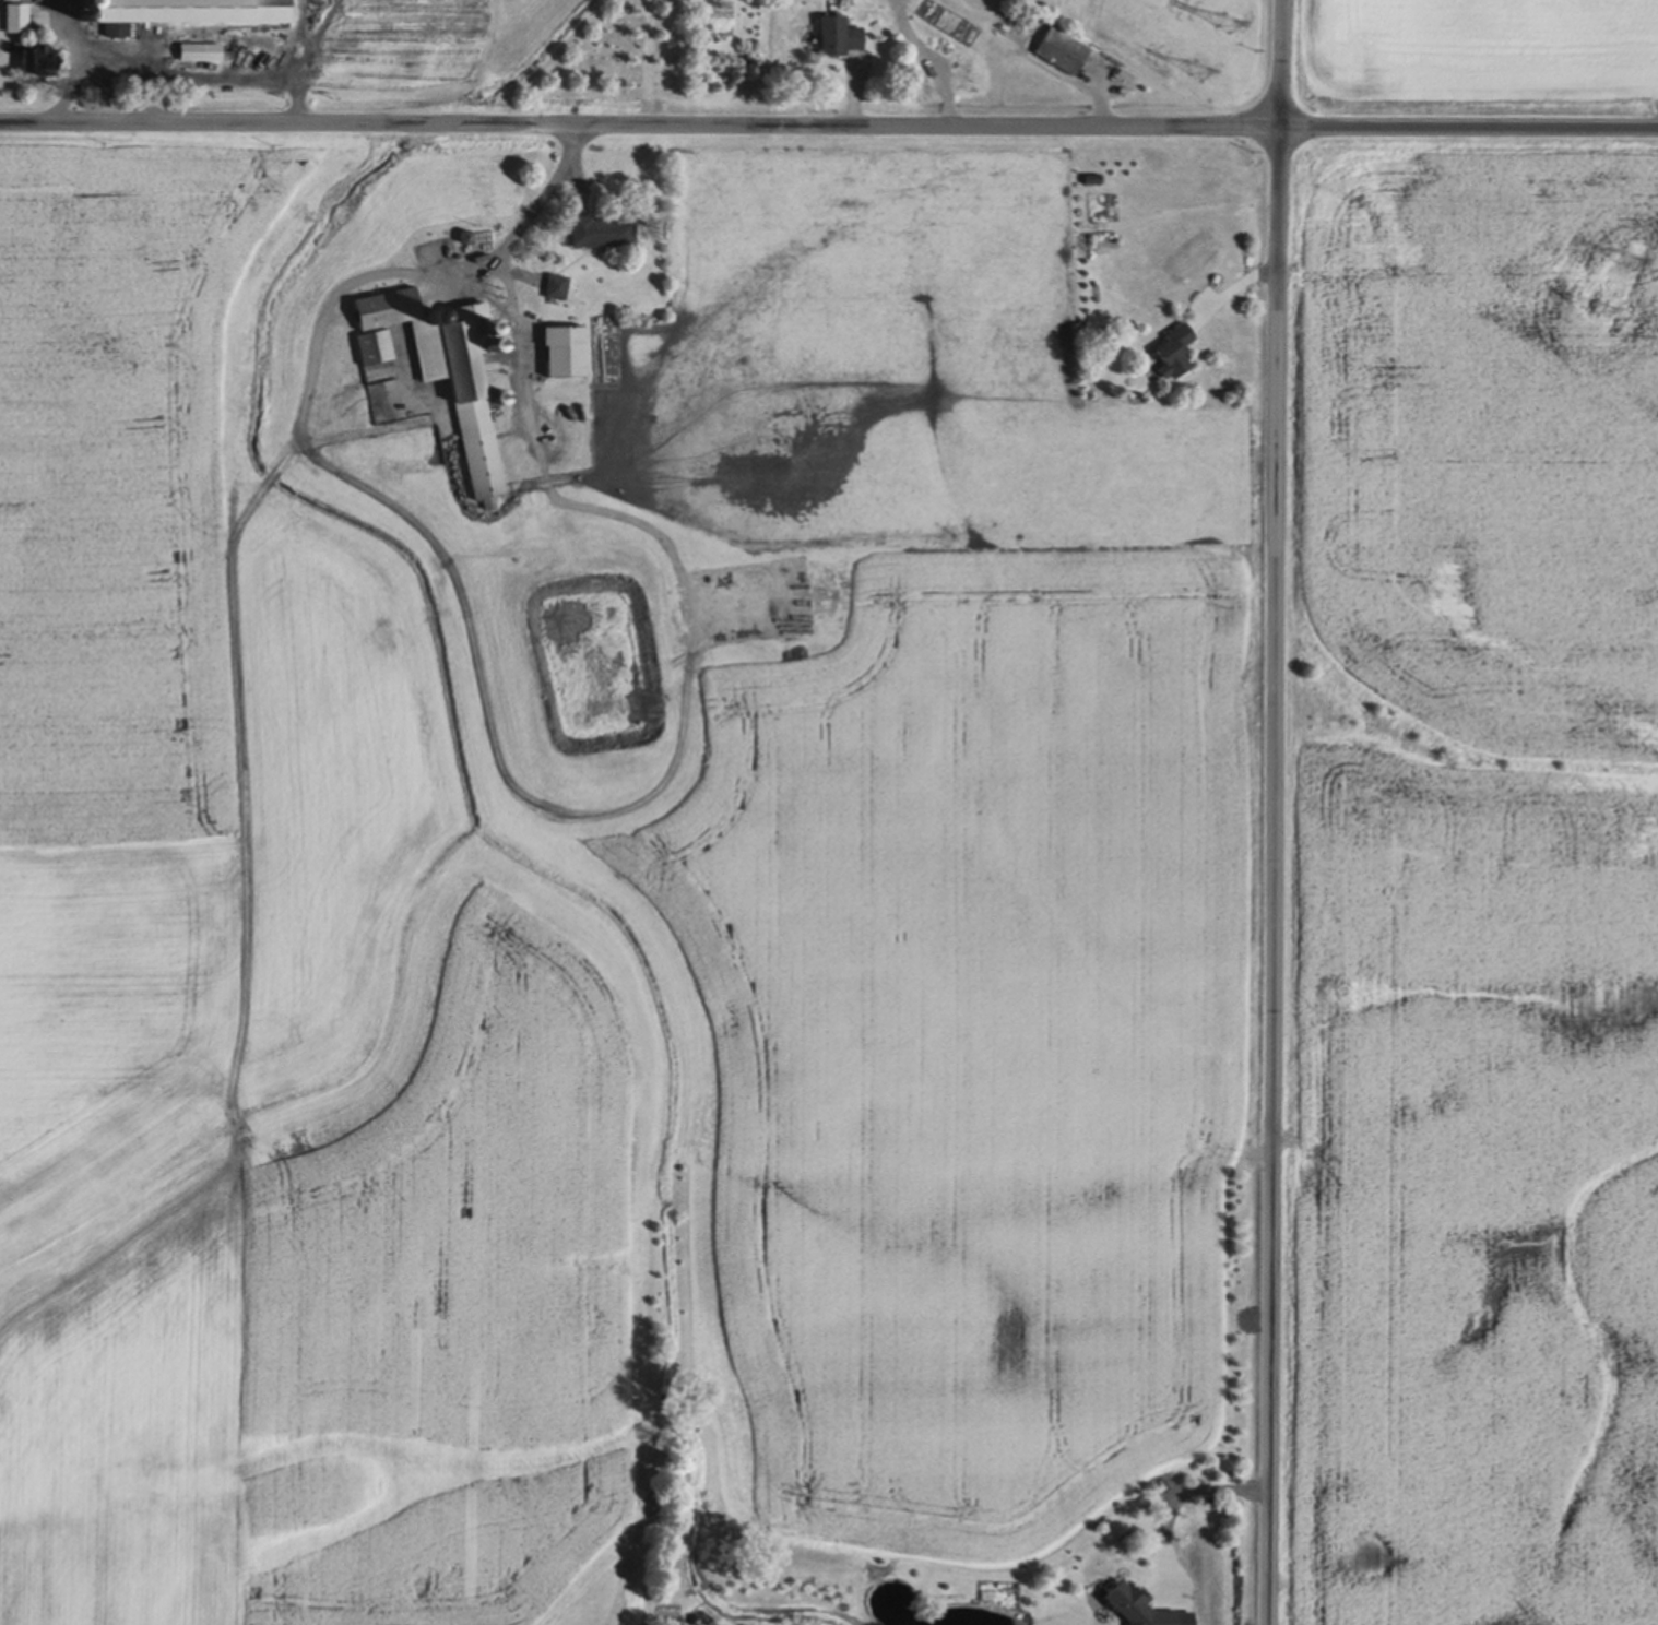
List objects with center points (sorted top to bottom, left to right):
building: (176, 9)
building: (17, 14)
power tower: (1223, 25)
building: (838, 31)
building: (1061, 46)
building: (200, 47)
building: (40, 55)
road: (73, 60)
power tower: (1194, 71)
road: (203, 81)
road: (828, 127)
building: (601, 226)
building: (464, 234)
power tower: (1622, 261)
building: (556, 283)
power tower: (1594, 310)
building: (374, 342)
building: (565, 345)
building: (1174, 345)
building: (449, 367)
building: (499, 394)
road: (499, 742)
road: (1274, 811)
road: (1174, 1495)
building: (1138, 1605)

